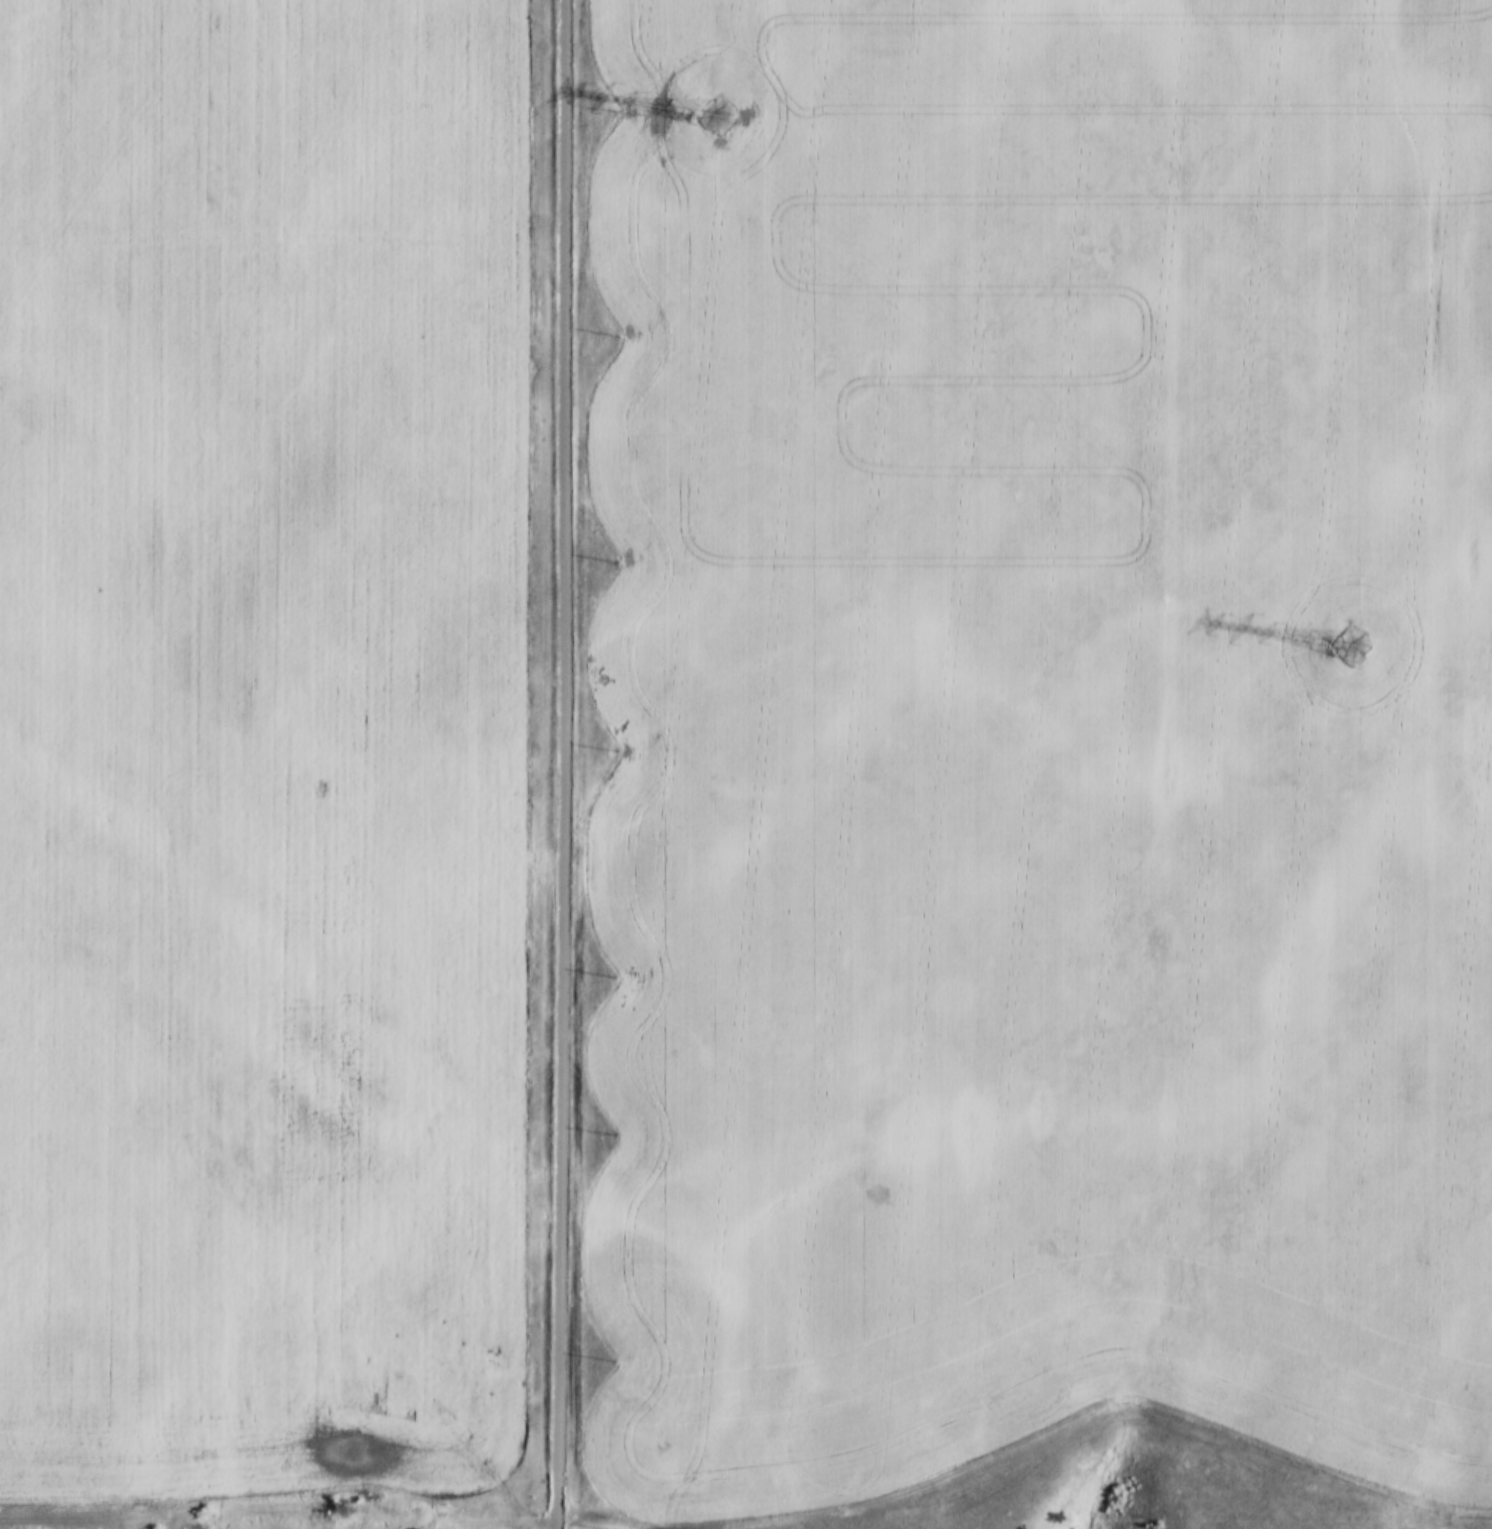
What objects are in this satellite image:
power tower: (725, 117)
power tower: (1367, 647)
road: (565, 764)

